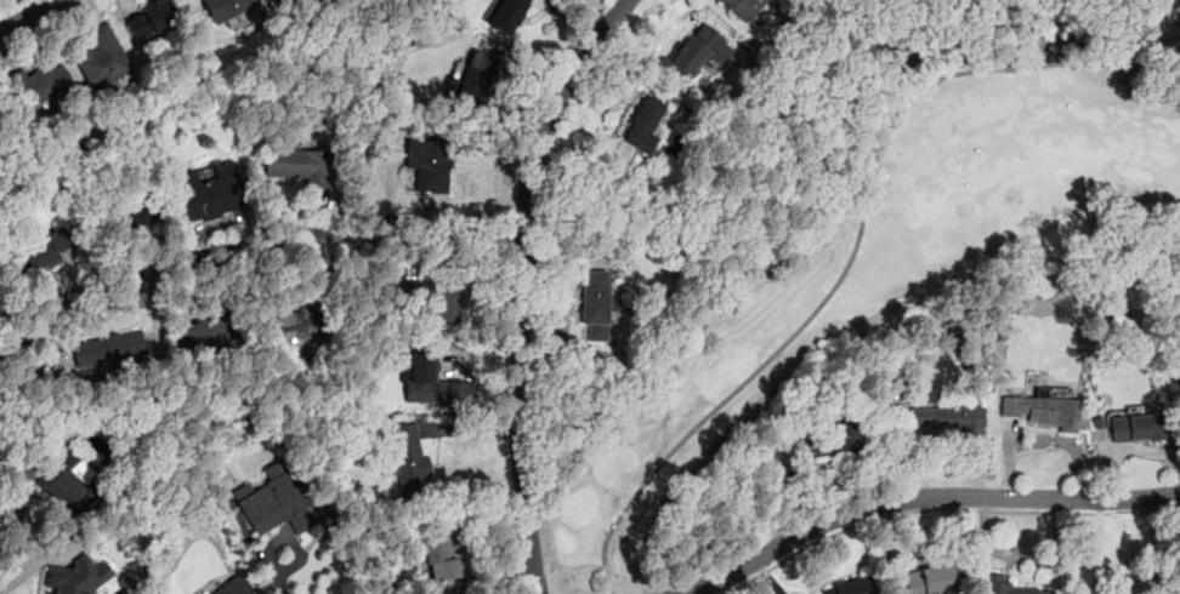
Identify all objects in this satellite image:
building: (743, 7)
building: (227, 8)
building: (507, 13)
road: (28, 15)
building: (151, 22)
building: (702, 52)
building: (102, 58)
building: (472, 81)
building: (42, 87)
building: (645, 126)
building: (426, 164)
building: (297, 166)
building: (210, 193)
building: (140, 211)
road: (250, 246)
road: (853, 247)
building: (49, 249)
park: (881, 250)
road: (523, 284)
building: (436, 303)
building: (596, 305)
building: (296, 326)
building: (208, 332)
building: (104, 349)
building: (413, 366)
building: (1044, 411)
building: (947, 419)
building: (1138, 427)
building: (836, 438)
building: (405, 467)
building: (69, 485)
road: (920, 497)
building: (278, 506)
road: (941, 509)
road: (1096, 547)
building: (436, 556)
road: (279, 575)
building: (74, 577)
building: (930, 581)
building: (849, 587)
building: (232, 588)
building: (1016, 589)

